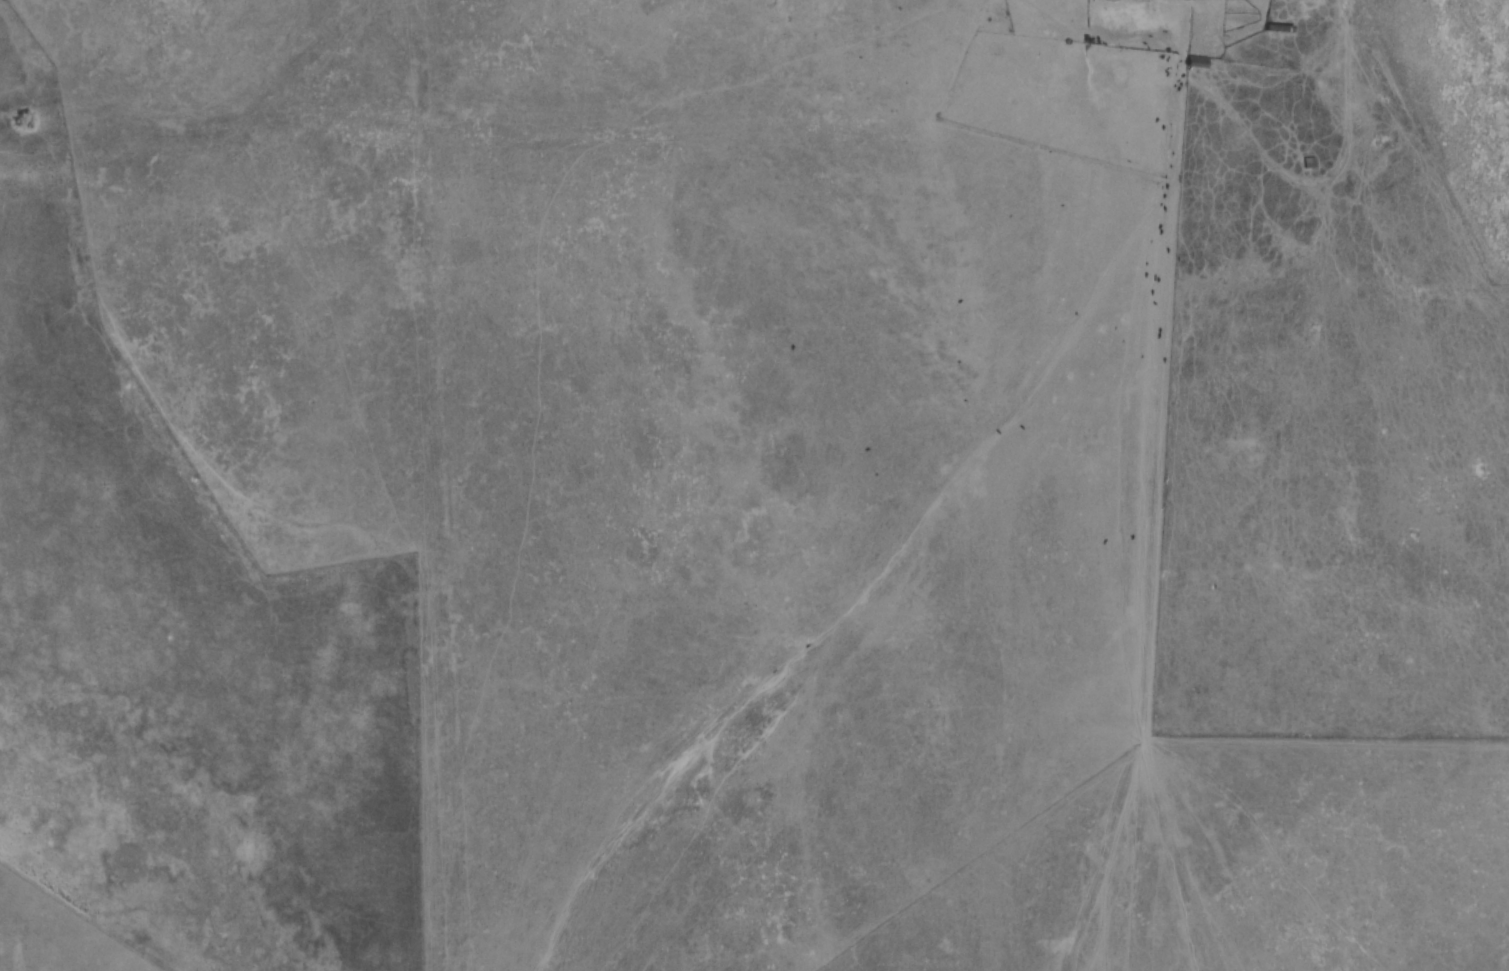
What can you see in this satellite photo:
building: (1198, 62)
building: (1311, 162)

